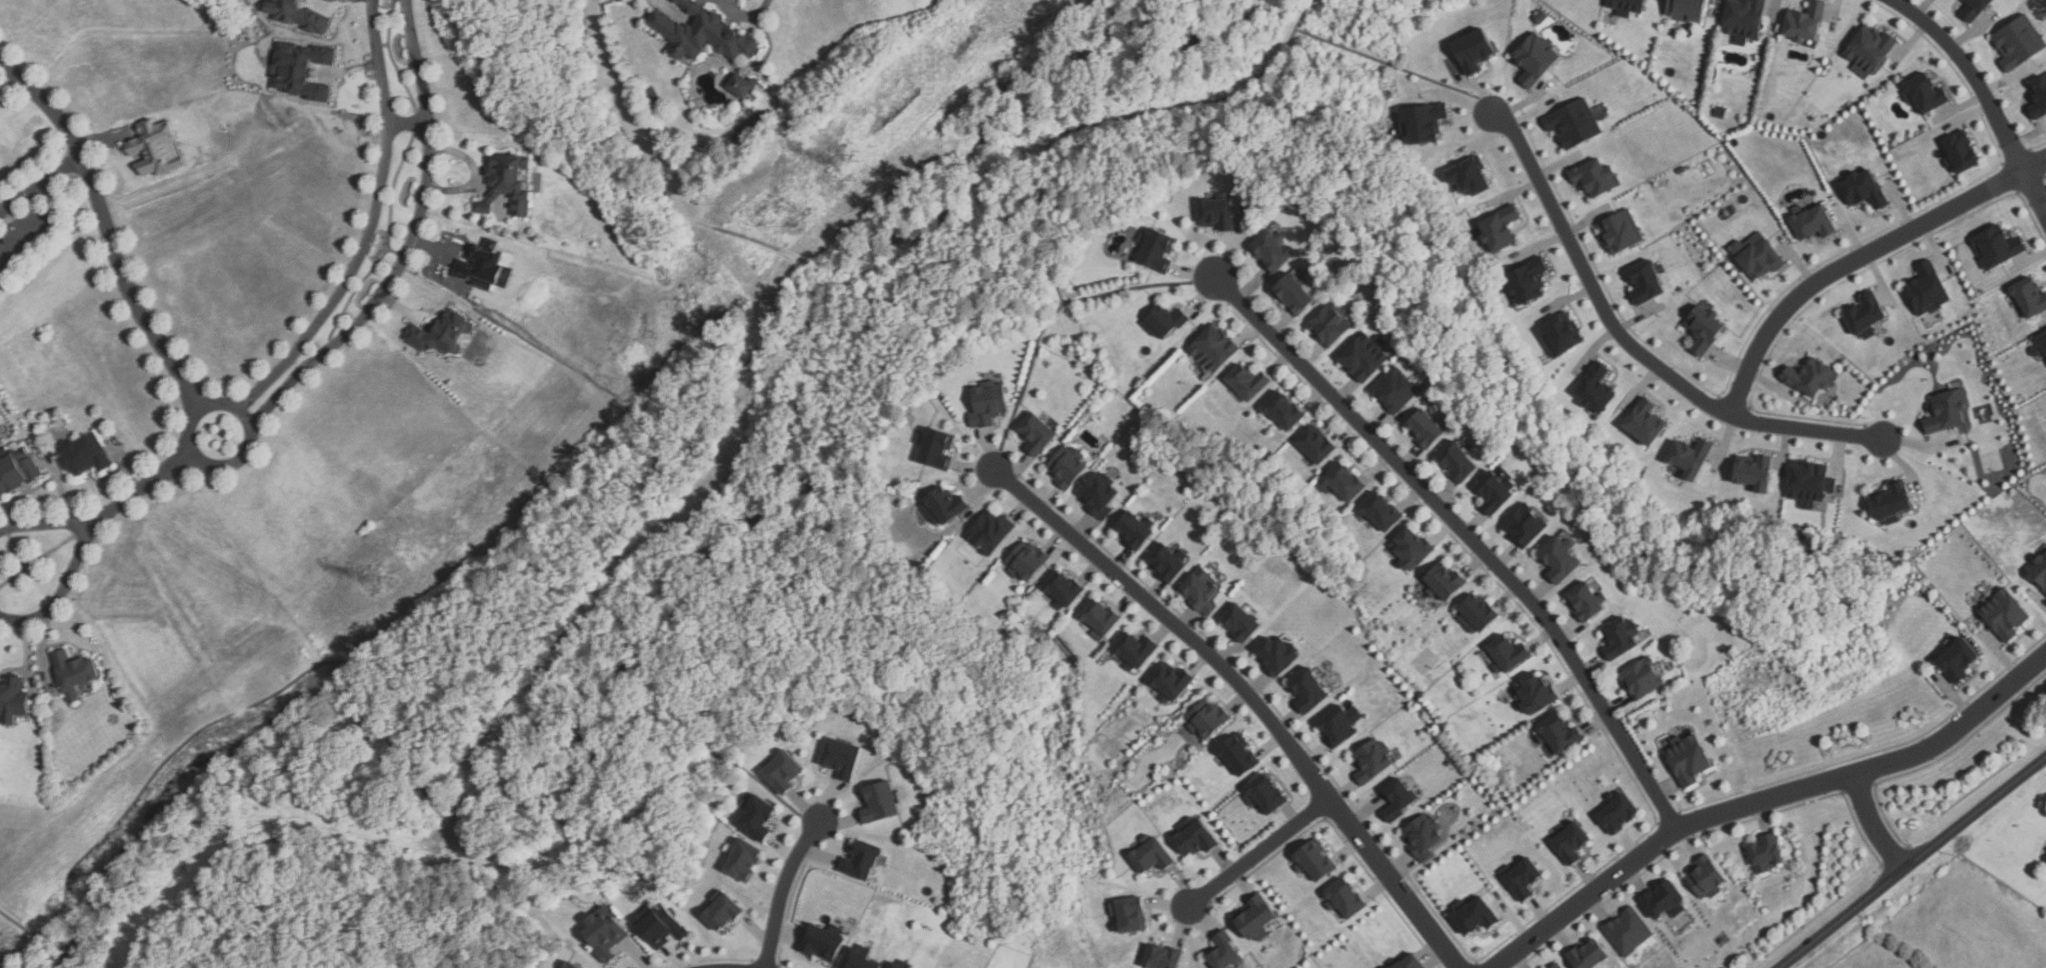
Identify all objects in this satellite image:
road: (338, 2)
building: (1628, 7)
building: (1976, 9)
building: (1687, 10)
building: (296, 14)
road: (746, 17)
building: (1743, 18)
building: (1806, 23)
building: (698, 31)
building: (2020, 43)
building: (1869, 51)
building: (1474, 52)
road: (1379, 60)
building: (1535, 60)
building: (303, 70)
road: (349, 72)
building: (740, 86)
road: (1983, 91)
building: (1926, 94)
building: (2039, 100)
building: (1720, 112)
road: (409, 124)
building: (1423, 124)
building: (1573, 124)
road: (105, 138)
building: (312, 141)
building: (158, 149)
building: (1962, 153)
road: (1040, 157)
power tower: (843, 162)
building: (1681, 170)
road: (476, 175)
building: (1471, 177)
building: (1596, 178)
road: (39, 181)
building: (508, 185)
building: (1864, 190)
road: (674, 209)
building: (1218, 210)
road: (41, 223)
building: (1814, 224)
road: (368, 226)
road: (106, 229)
building: (1501, 229)
building: (1620, 232)
road: (409, 243)
building: (1155, 246)
building: (1999, 247)
building: (1271, 252)
building: (1758, 255)
road: (1859, 260)
road: (434, 264)
building: (482, 266)
building: (1529, 282)
building: (1646, 283)
building: (1928, 290)
building: (1294, 295)
building: (2031, 298)
road: (406, 310)
building: (1867, 315)
building: (1165, 320)
building: (1329, 325)
building: (1705, 329)
building: (442, 335)
building: (1560, 335)
road: (765, 337)
road: (1633, 347)
building: (2040, 348)
building: (1213, 349)
building: (1362, 359)
building: (1813, 377)
road: (1025, 382)
building: (1246, 384)
building: (1597, 390)
building: (1394, 391)
building: (987, 404)
building: (1282, 412)
building: (1947, 413)
road: (192, 418)
building: (1647, 424)
building: (1425, 427)
building: (1036, 432)
building: (935, 446)
building: (1315, 446)
building: (84, 455)
building: (1693, 459)
building: (1456, 463)
building: (1067, 465)
road: (127, 466)
building: (16, 470)
building: (1755, 473)
building: (1343, 482)
building: (1810, 483)
road: (60, 486)
road: (144, 487)
building: (1496, 491)
building: (1099, 494)
building: (1893, 503)
building: (943, 505)
building: (1380, 513)
road: (46, 524)
building: (1527, 524)
building: (1135, 528)
building: (991, 531)
road: (1469, 534)
building: (1410, 549)
building: (1561, 558)
building: (1026, 560)
building: (1169, 561)
building: (2040, 570)
power tower: (383, 578)
building: (1445, 582)
building: (1064, 589)
building: (1201, 590)
road: (62, 591)
building: (1587, 601)
building: (1478, 612)
building: (2005, 613)
building: (1102, 618)
building: (1240, 623)
building: (1621, 638)
road: (42, 648)
building: (1136, 650)
building: (1509, 654)
building: (1277, 655)
road: (28, 656)
building: (1959, 659)
building: (73, 673)
building: (1641, 680)
building: (1172, 682)
building: (1310, 688)
road: (1250, 694)
building: (1535, 694)
building: (13, 699)
building: (1209, 717)
building: (1342, 724)
building: (1560, 735)
building: (1240, 754)
road: (410, 757)
building: (841, 757)
building: (1374, 760)
building: (1688, 762)
building: (783, 770)
building: (1267, 793)
building: (1400, 799)
road: (1765, 800)
building: (880, 801)
building: (1619, 811)
building: (758, 817)
road: (1874, 824)
building: (1196, 836)
building: (1424, 836)
building: (1572, 842)
road: (1261, 852)
building: (1767, 852)
building: (1152, 854)
building: (2044, 855)
building: (744, 859)
building: (862, 860)
building: (1316, 860)
road: (1913, 862)
building: (1523, 877)
building: (1706, 877)
road: (781, 889)
building: (1346, 898)
building: (1665, 899)
building: (723, 910)
building: (1132, 913)
building: (1476, 914)
building: (1256, 917)
building: (660, 924)
building: (1629, 931)
building: (605, 934)
building: (822, 943)
building: (1224, 951)
building: (1589, 954)
building: (1163, 956)
building: (858, 960)
building: (1410, 962)
building: (571, 965)
building: (894, 965)
building: (1557, 966)

